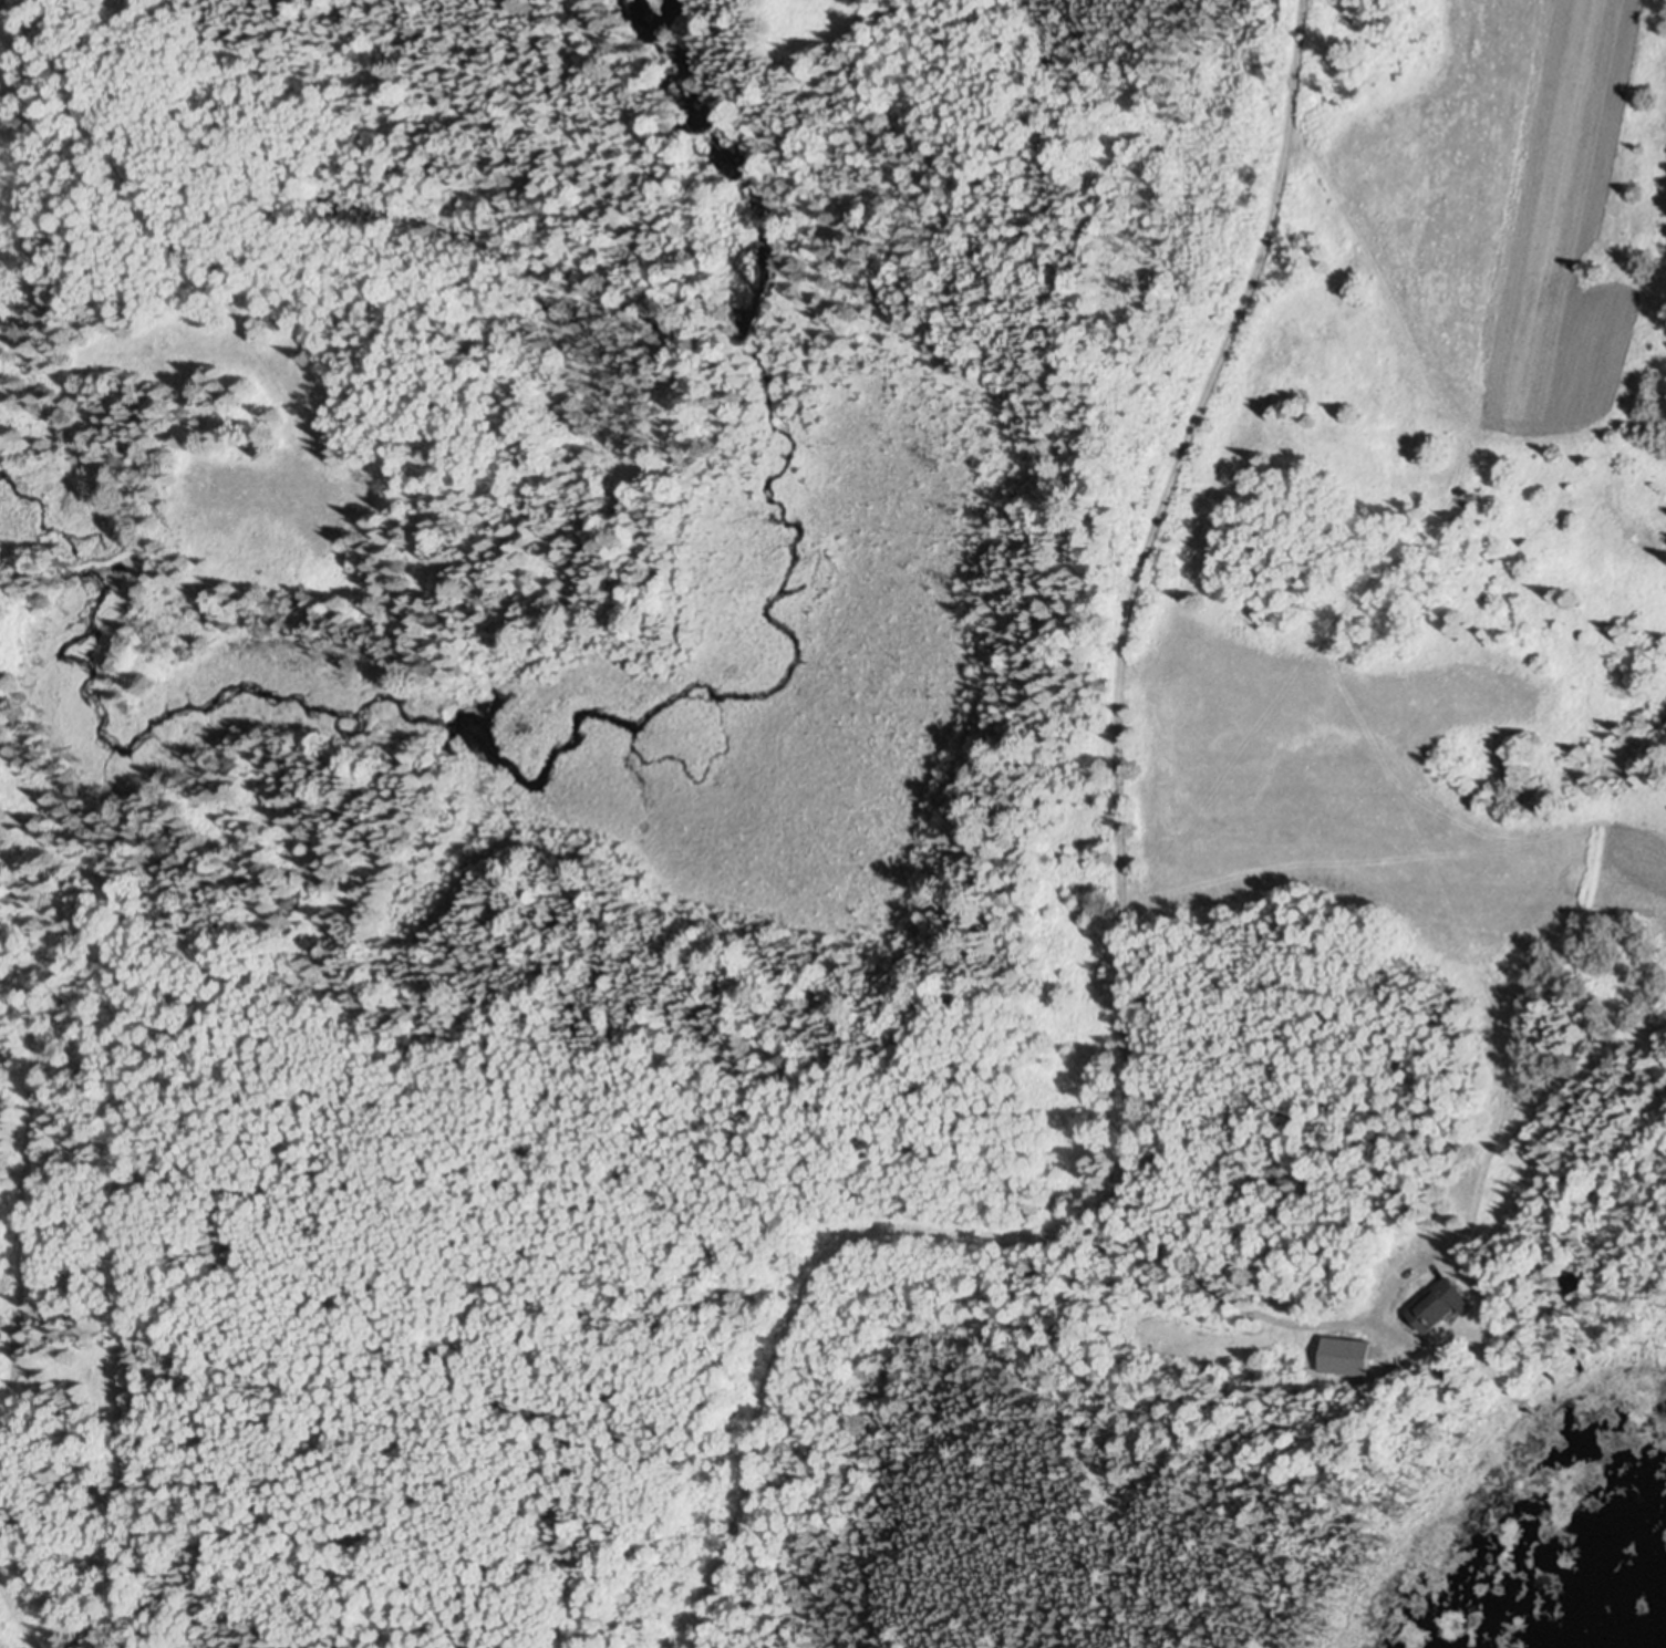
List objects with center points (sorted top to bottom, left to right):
road: (1111, 953)
building: (1447, 1308)
road: (1244, 1319)
building: (1349, 1359)

